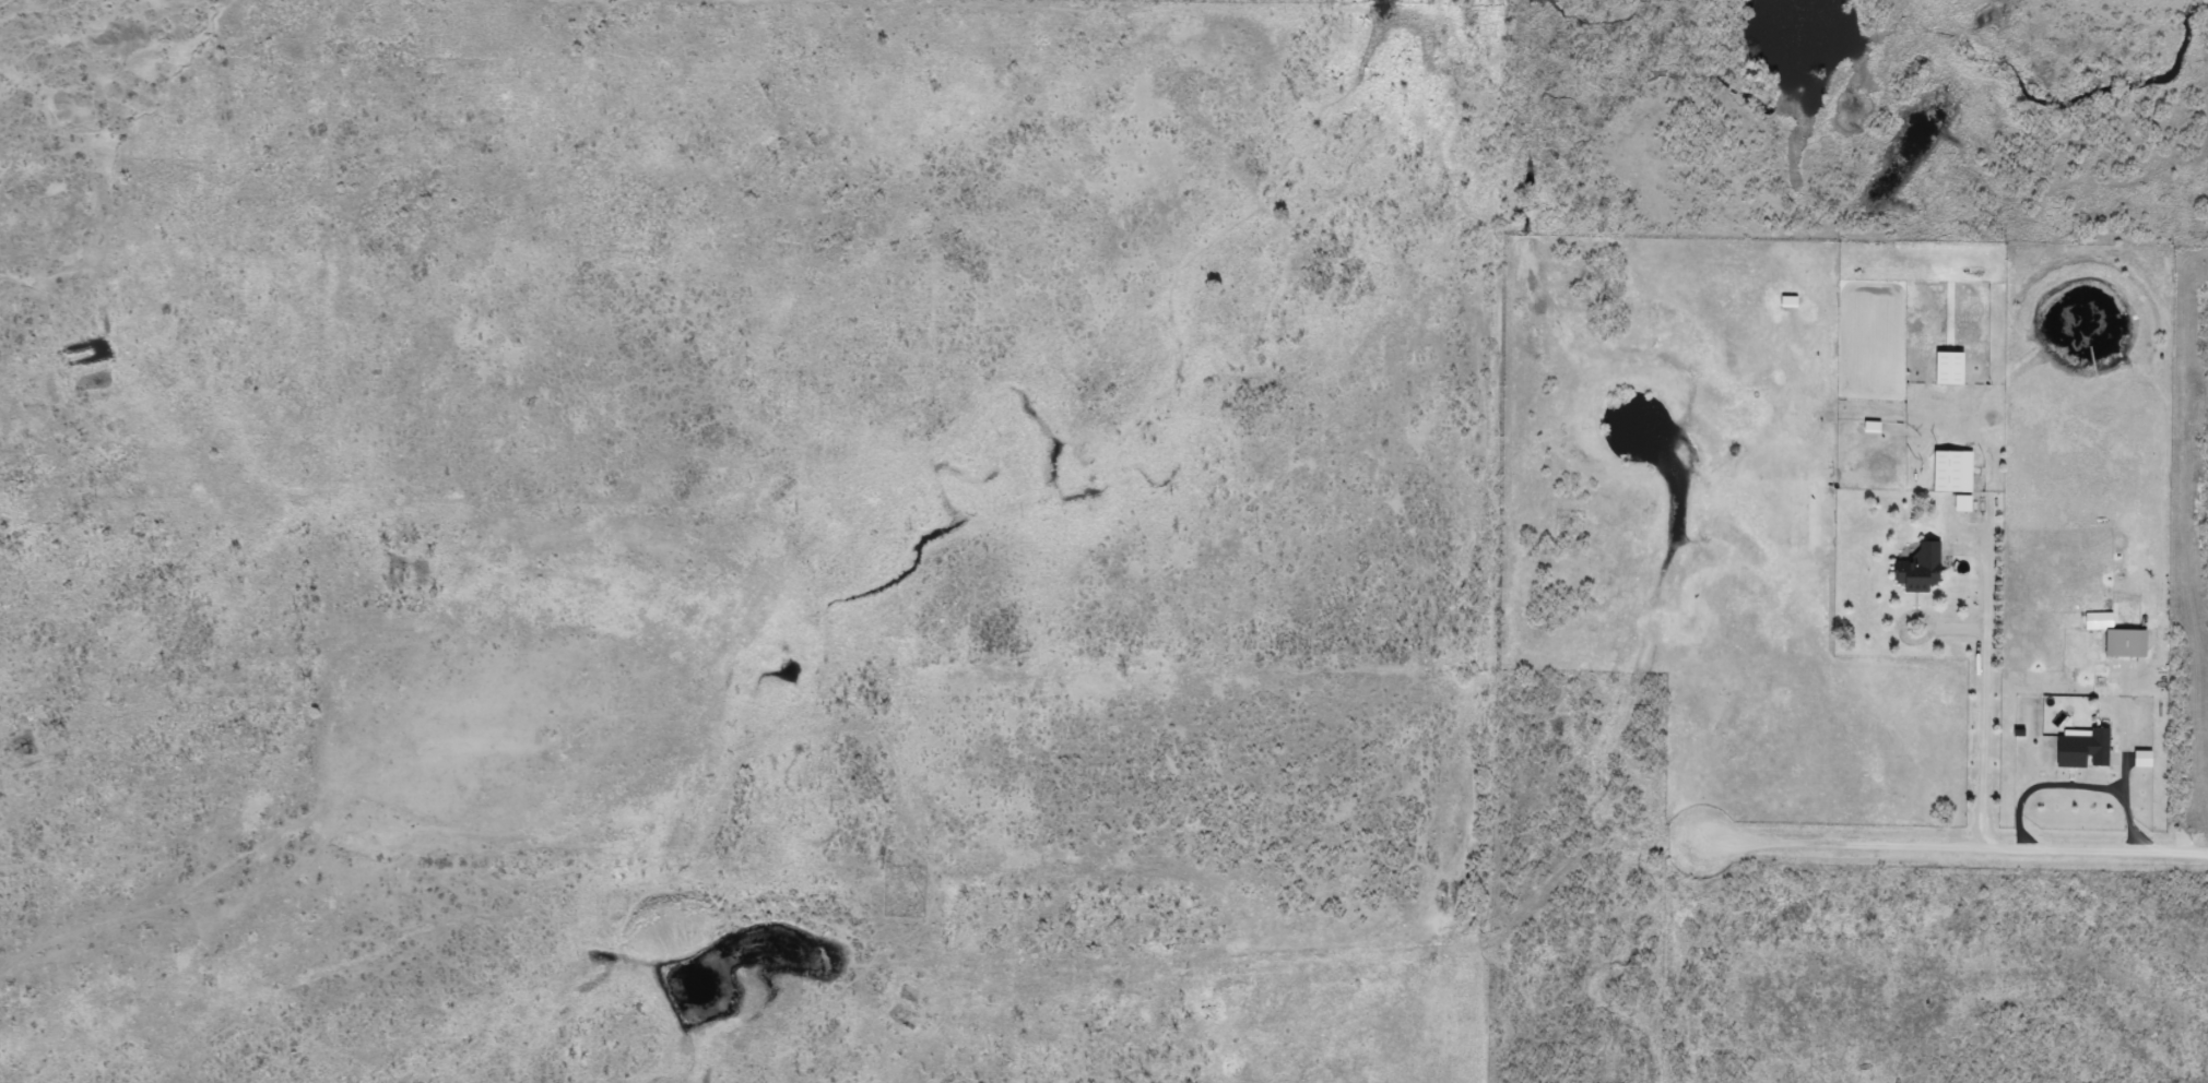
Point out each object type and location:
building: (1945, 468)
building: (1918, 566)
building: (2124, 641)
building: (2082, 748)
road: (1710, 762)
road: (2047, 917)

